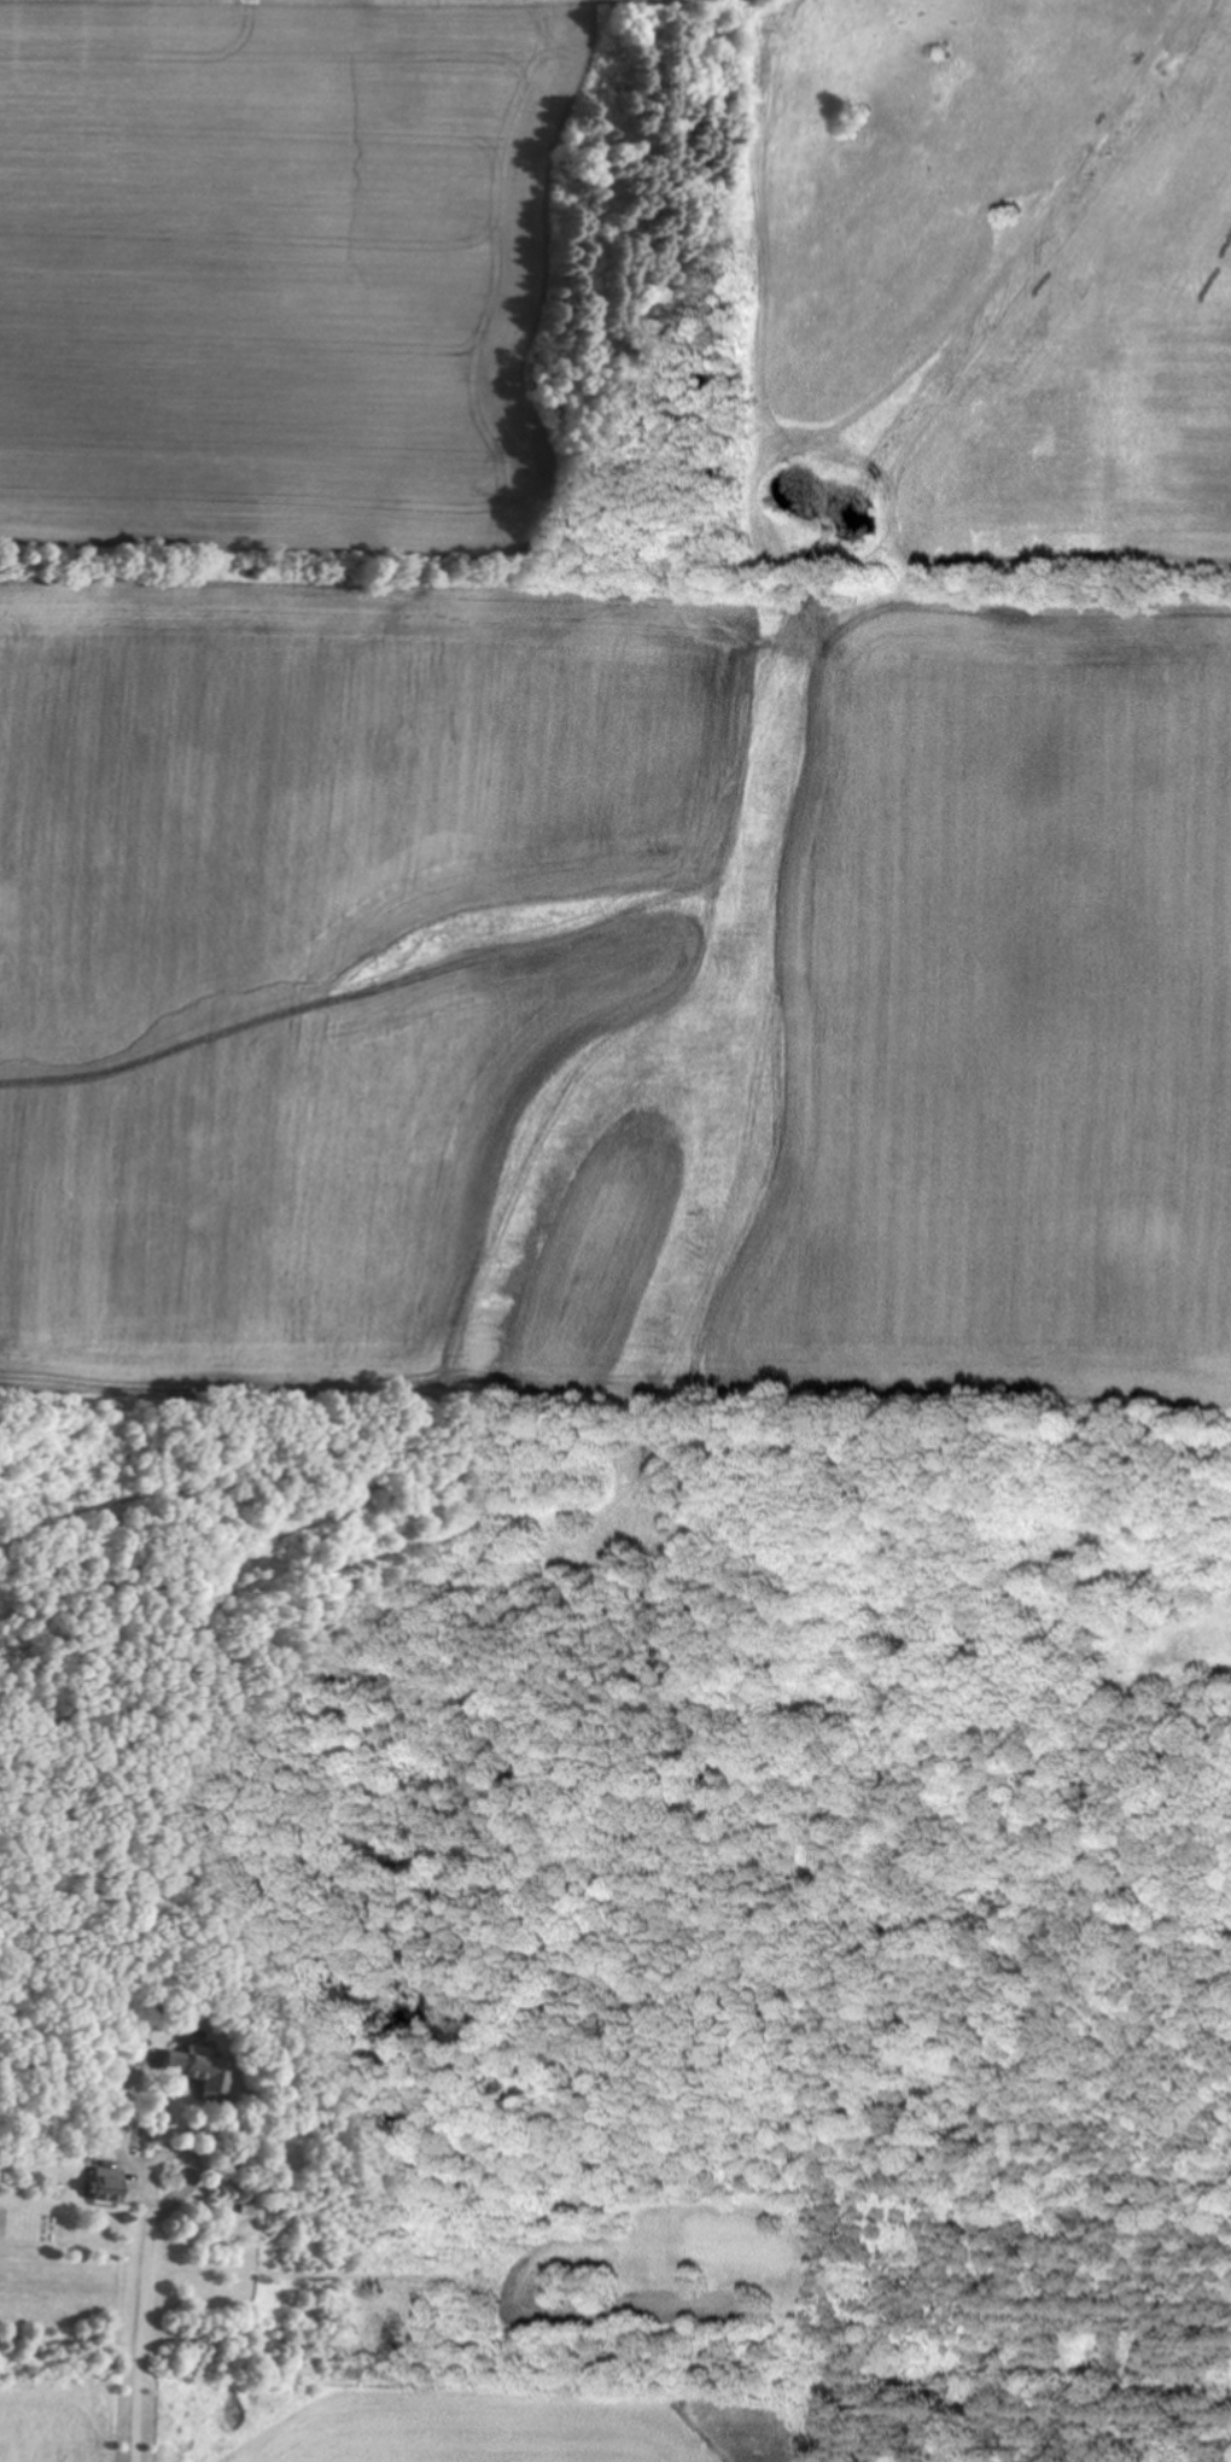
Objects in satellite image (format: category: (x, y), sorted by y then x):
building: (193, 2070)
building: (109, 2186)

